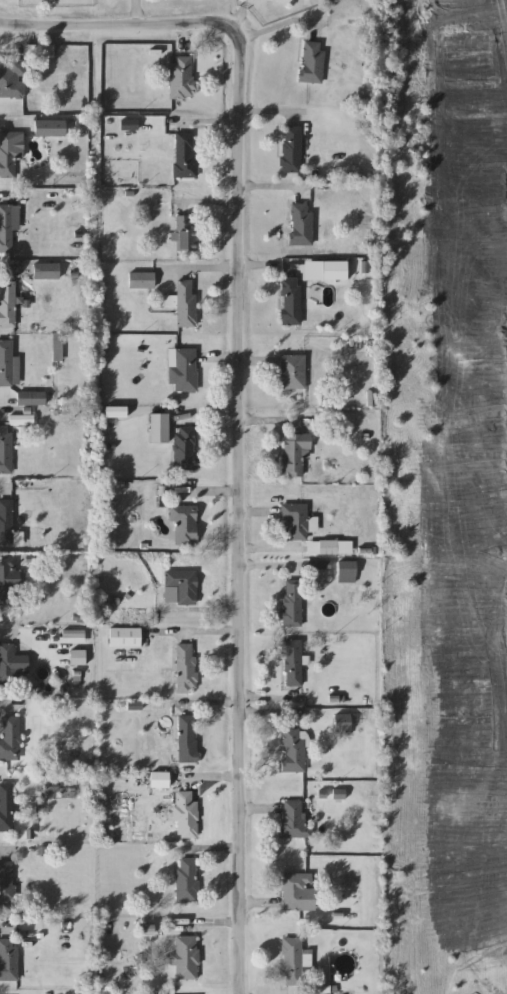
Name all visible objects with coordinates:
road: (240, 17)
road: (116, 27)
road: (274, 29)
building: (312, 62)
building: (182, 78)
building: (13, 80)
road: (234, 118)
road: (4, 124)
building: (49, 128)
building: (291, 150)
building: (10, 152)
building: (185, 155)
road: (269, 191)
road: (8, 196)
road: (204, 204)
building: (7, 226)
building: (187, 234)
road: (4, 271)
building: (46, 271)
road: (231, 271)
building: (141, 280)
building: (291, 302)
building: (7, 304)
building: (186, 304)
building: (6, 363)
building: (184, 371)
building: (292, 373)
building: (31, 398)
road: (5, 406)
road: (206, 414)
road: (271, 422)
building: (159, 424)
building: (185, 449)
building: (6, 450)
building: (294, 453)
road: (2, 489)
road: (205, 493)
road: (237, 513)
building: (294, 521)
building: (6, 524)
building: (184, 525)
building: (330, 547)
road: (268, 550)
road: (268, 570)
building: (347, 572)
building: (8, 581)
building: (181, 588)
building: (292, 603)
road: (199, 613)
road: (203, 634)
road: (6, 635)
building: (125, 637)
building: (292, 663)
building: (7, 664)
building: (186, 668)
road: (267, 699)
road: (209, 706)
road: (10, 709)
road: (267, 717)
building: (342, 724)
building: (11, 739)
building: (188, 740)
building: (294, 751)
road: (208, 781)
building: (7, 807)
building: (187, 816)
building: (293, 819)
road: (207, 851)
road: (8, 852)
building: (188, 881)
building: (7, 885)
building: (298, 893)
road: (210, 927)
road: (6, 932)
building: (187, 958)
building: (9, 960)
building: (293, 962)

